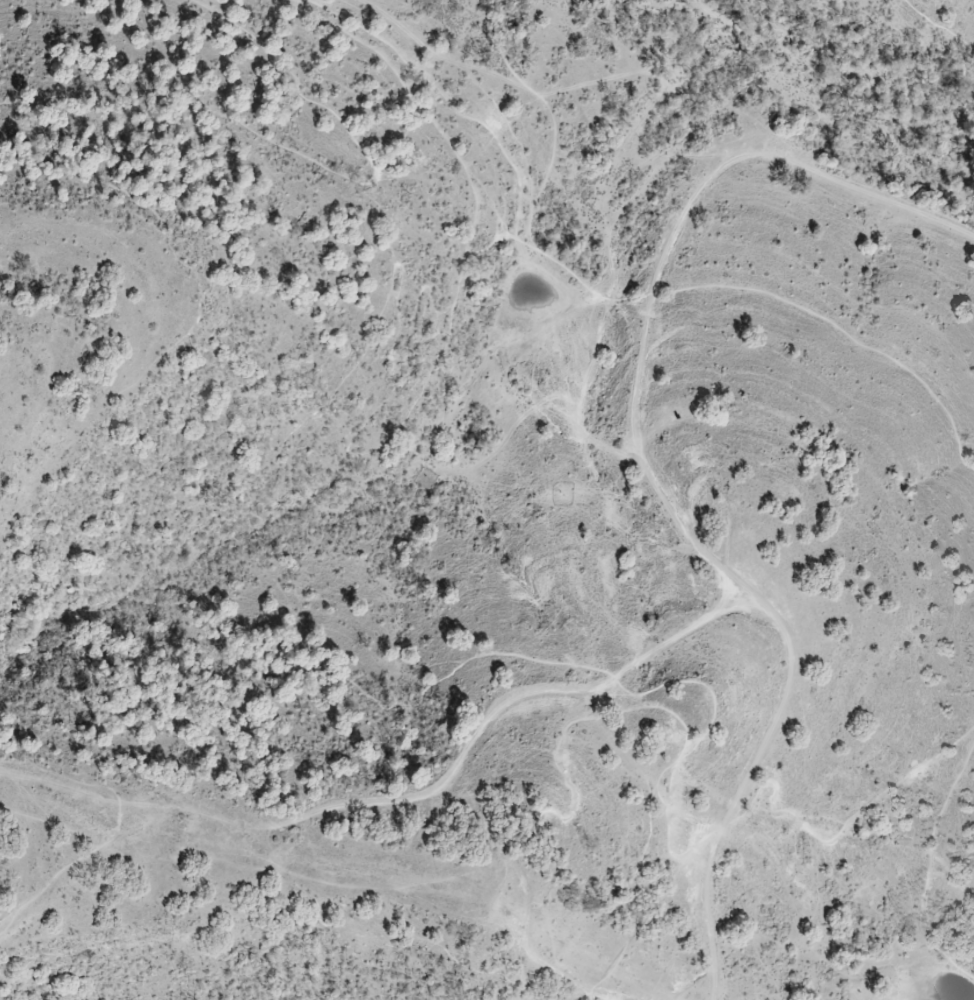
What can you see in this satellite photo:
road: (935, 27)
road: (835, 50)
road: (315, 164)
road: (193, 322)
road: (841, 332)
road: (674, 517)
road: (168, 526)
road: (67, 778)
road: (733, 787)
road: (926, 866)
road: (61, 870)
road: (438, 872)
road: (590, 996)

